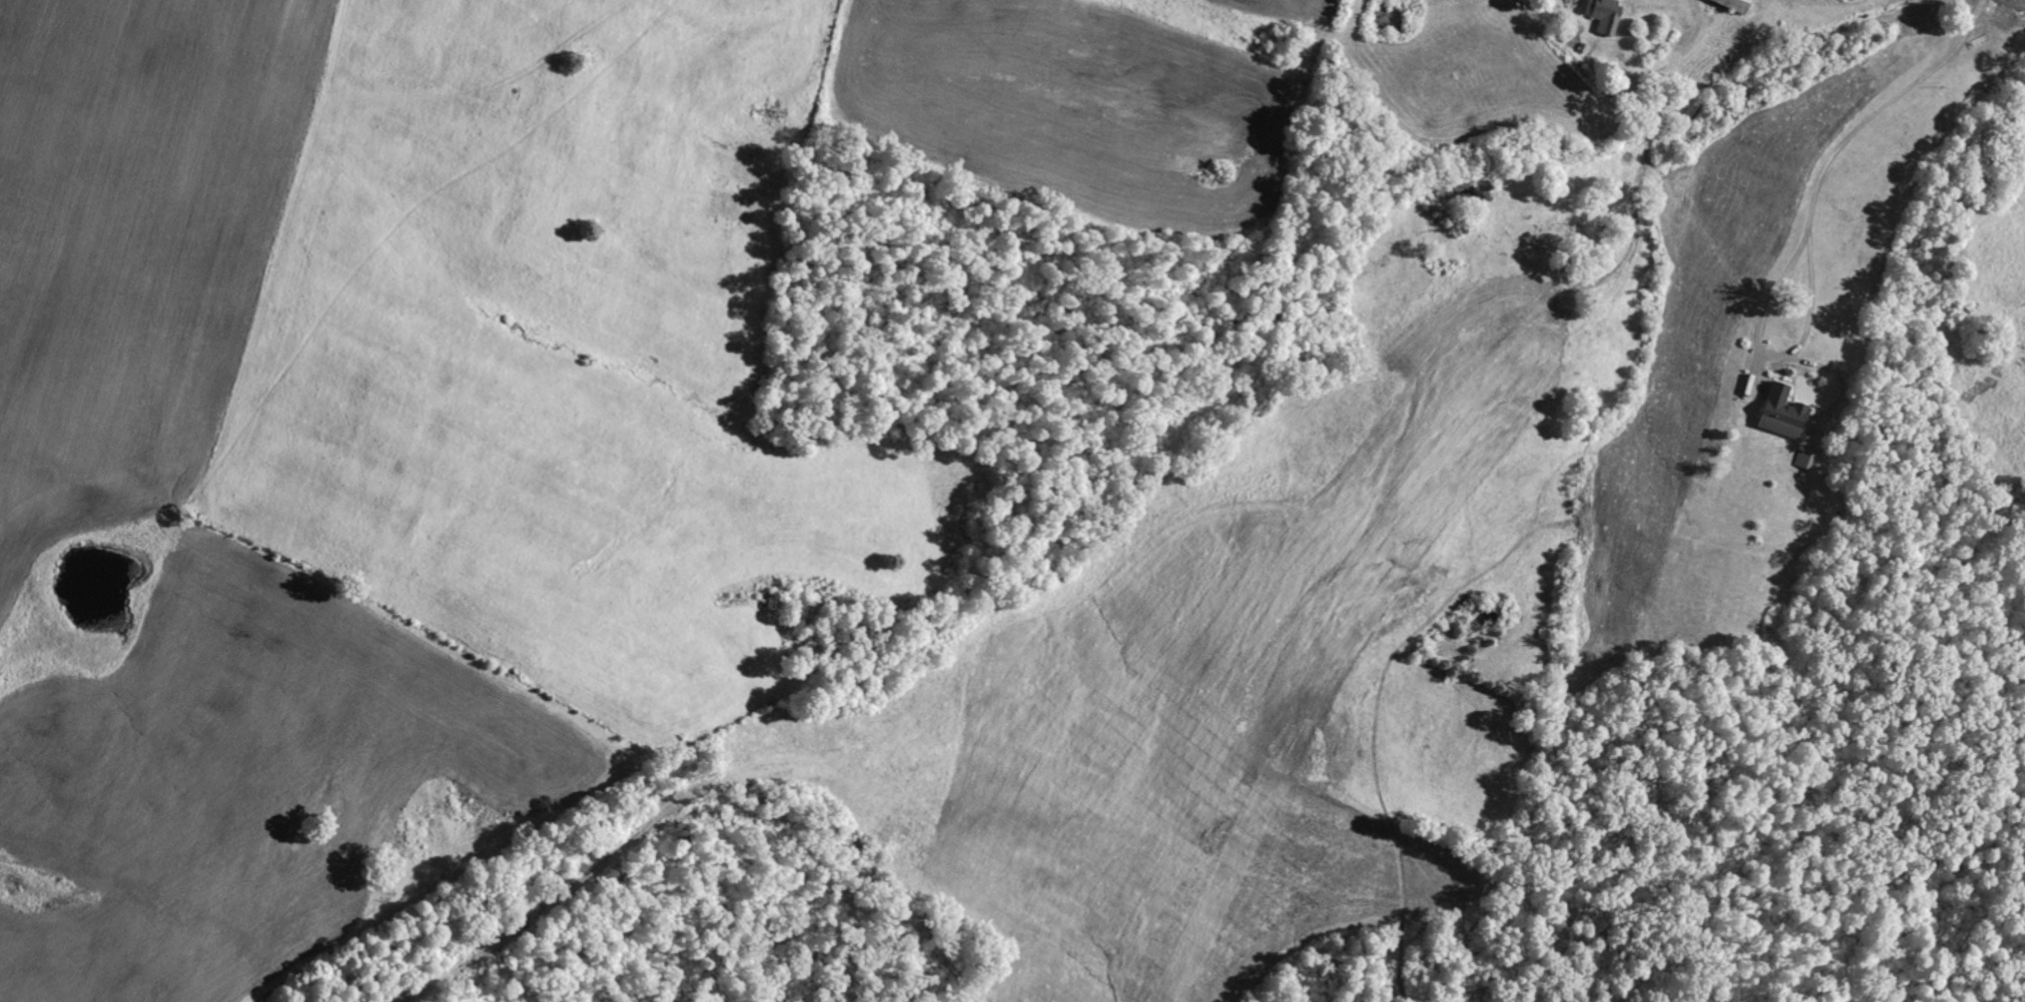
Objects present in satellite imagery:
building: (1730, 5)
building: (1600, 13)
building: (1802, 460)

